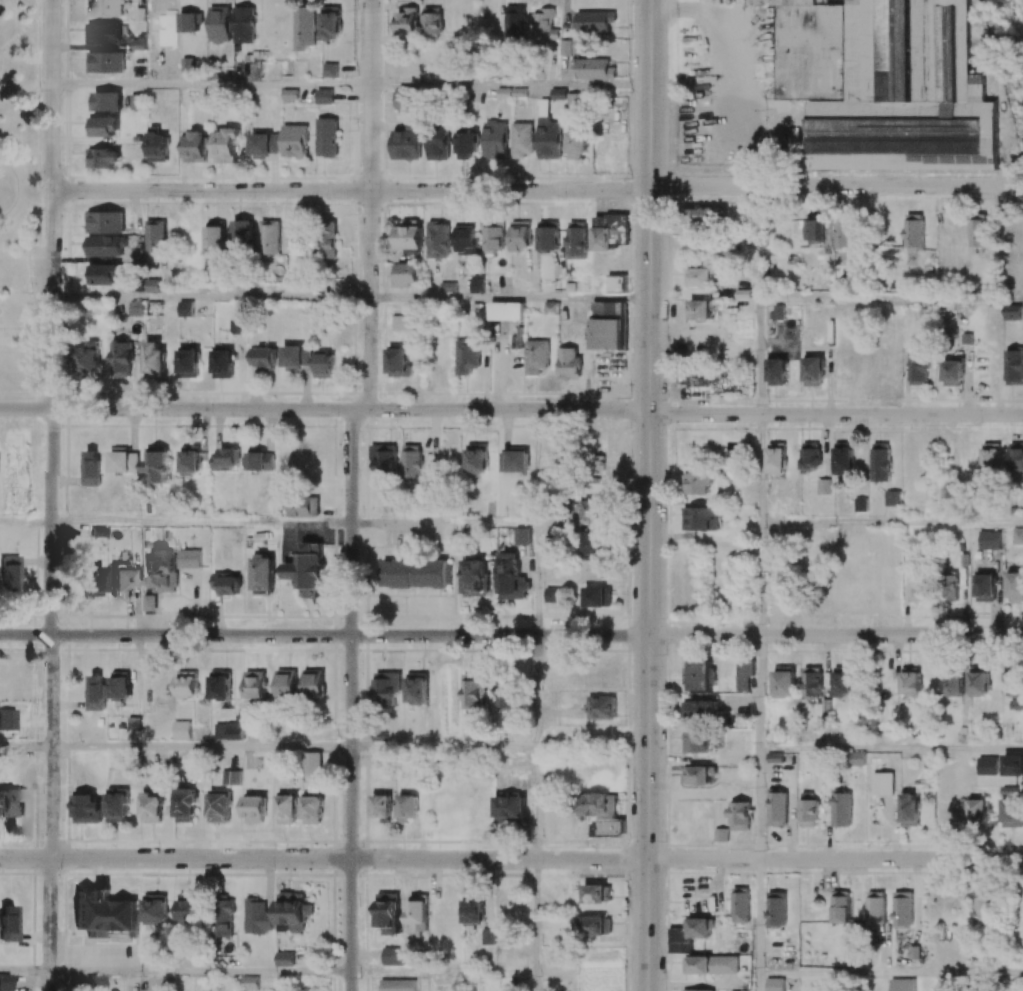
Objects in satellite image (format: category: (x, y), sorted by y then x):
road: (39, 7)
building: (105, 8)
building: (432, 20)
building: (594, 21)
building: (407, 22)
building: (330, 23)
building: (515, 23)
building: (188, 24)
building: (220, 24)
building: (244, 24)
building: (544, 25)
building: (303, 27)
building: (103, 32)
road: (20, 33)
building: (138, 44)
building: (812, 50)
building: (105, 62)
building: (594, 69)
building: (330, 70)
road: (212, 84)
road: (511, 85)
building: (921, 90)
building: (558, 93)
building: (324, 96)
building: (407, 100)
building: (575, 100)
building: (104, 126)
building: (326, 137)
building: (495, 139)
building: (522, 139)
building: (295, 141)
building: (577, 141)
building: (438, 143)
building: (406, 144)
building: (467, 144)
building: (226, 145)
building: (264, 145)
building: (194, 146)
building: (158, 147)
building: (104, 157)
building: (826, 160)
road: (39, 176)
street lamp: (43, 179)
road: (836, 187)
road: (19, 189)
road: (352, 191)
park: (19, 192)
building: (704, 213)
building: (105, 222)
building: (813, 229)
building: (979, 229)
building: (913, 232)
building: (844, 233)
building: (242, 235)
building: (410, 235)
building: (520, 235)
building: (155, 236)
building: (215, 236)
building: (493, 236)
building: (548, 236)
building: (270, 237)
building: (294, 237)
building: (466, 237)
building: (327, 239)
building: (438, 239)
building: (576, 240)
road: (761, 243)
building: (103, 246)
building: (102, 274)
building: (405, 274)
building: (701, 277)
building: (476, 283)
building: (615, 284)
street lamp: (31, 292)
road: (211, 297)
road: (510, 298)
road: (880, 300)
building: (136, 308)
building: (185, 308)
building: (608, 309)
building: (699, 310)
building: (506, 311)
building: (1012, 312)
building: (403, 323)
building: (237, 325)
road: (14, 330)
building: (608, 333)
building: (700, 340)
building: (467, 356)
building: (536, 356)
building: (296, 357)
road: (761, 357)
building: (266, 358)
building: (89, 359)
building: (122, 360)
building: (154, 360)
road: (34, 361)
building: (398, 362)
building: (188, 363)
building: (222, 363)
building: (568, 364)
building: (325, 365)
building: (1014, 365)
building: (918, 368)
building: (777, 371)
building: (813, 371)
building: (953, 372)
building: (699, 378)
road: (18, 393)
road: (511, 410)
street lamp: (61, 428)
building: (810, 456)
building: (991, 456)
building: (1016, 456)
building: (476, 457)
building: (225, 458)
building: (776, 458)
building: (844, 458)
building: (190, 459)
building: (260, 459)
building: (385, 460)
building: (517, 460)
building: (124, 461)
building: (412, 461)
building: (503, 462)
building: (880, 462)
building: (157, 463)
building: (91, 468)
road: (536, 468)
road: (761, 468)
building: (697, 483)
building: (824, 486)
road: (351, 493)
road: (53, 495)
road: (649, 495)
building: (892, 498)
building: (860, 504)
building: (303, 508)
building: (597, 509)
building: (777, 510)
building: (700, 518)
road: (892, 522)
road: (26, 523)
road: (202, 524)
road: (443, 525)
building: (523, 536)
building: (1017, 536)
building: (989, 539)
building: (596, 544)
building: (189, 558)
building: (307, 567)
building: (596, 569)
building: (162, 570)
building: (415, 573)
building: (9, 574)
building: (263, 574)
building: (476, 576)
building: (511, 577)
road: (760, 578)
building: (92, 581)
road: (535, 581)
building: (225, 583)
building: (120, 584)
building: (1014, 585)
building: (950, 586)
building: (985, 586)
building: (917, 587)
building: (554, 594)
building: (598, 596)
building: (150, 602)
road: (835, 635)
road: (324, 636)
building: (699, 675)
building: (783, 680)
building: (911, 681)
building: (812, 682)
building: (842, 682)
building: (314, 683)
building: (979, 683)
building: (187, 684)
building: (287, 684)
building: (953, 684)
building: (120, 685)
building: (220, 685)
building: (255, 685)
building: (1014, 685)
building: (387, 688)
building: (418, 688)
building: (474, 691)
building: (95, 692)
building: (507, 692)
road: (535, 692)
road: (760, 692)
building: (1016, 704)
building: (601, 707)
building: (698, 709)
building: (7, 720)
building: (133, 723)
building: (181, 730)
building: (228, 730)
building: (695, 742)
road: (26, 747)
road: (202, 747)
road: (443, 747)
road: (891, 749)
building: (857, 759)
building: (313, 762)
building: (1000, 765)
building: (698, 774)
building: (231, 777)
building: (9, 803)
road: (535, 803)
building: (118, 804)
road: (760, 804)
building: (185, 805)
building: (313, 805)
building: (596, 805)
building: (219, 806)
building: (87, 807)
building: (151, 807)
building: (381, 807)
building: (407, 807)
building: (777, 807)
building: (255, 808)
building: (288, 808)
building: (841, 808)
building: (509, 809)
building: (909, 809)
building: (808, 810)
building: (978, 812)
building: (1012, 812)
building: (739, 816)
building: (609, 827)
road: (324, 859)
road: (836, 860)
building: (596, 893)
building: (740, 904)
building: (190, 906)
building: (840, 906)
building: (156, 908)
building: (776, 908)
building: (875, 908)
building: (902, 908)
building: (473, 909)
building: (293, 911)
building: (982, 911)
building: (388, 912)
building: (103, 913)
building: (417, 914)
road: (759, 916)
building: (226, 917)
building: (258, 917)
building: (8, 924)
road: (534, 925)
building: (591, 925)
building: (488, 933)
building: (689, 934)
building: (393, 956)
building: (284, 958)
building: (713, 964)
road: (26, 970)
road: (201, 972)
road: (891, 973)
building: (5, 982)
building: (250, 982)
road: (759, 982)
building: (96, 983)
building: (775, 984)
building: (903, 984)
building: (397, 985)
building: (133, 990)
building: (697, 990)

